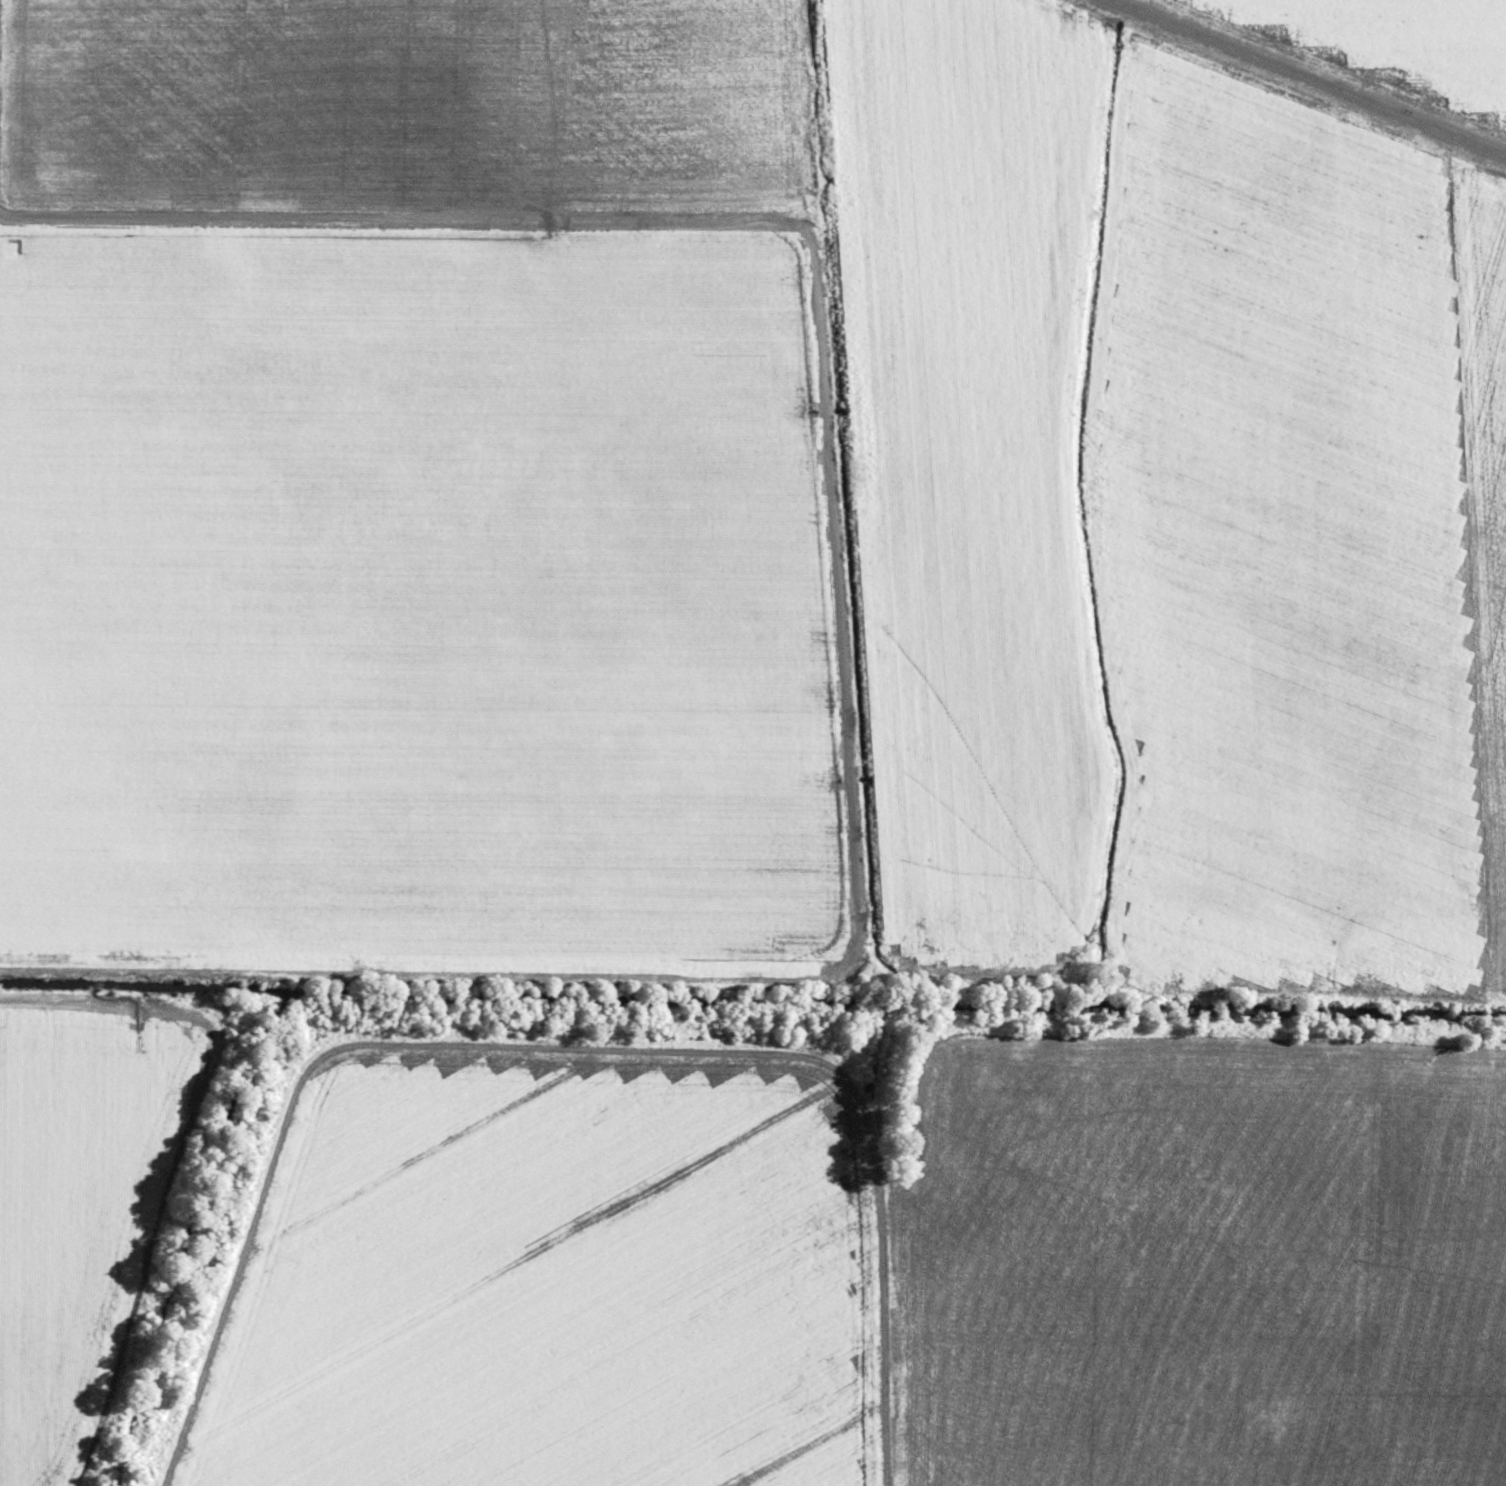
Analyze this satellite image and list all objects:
road: (1307, 79)

